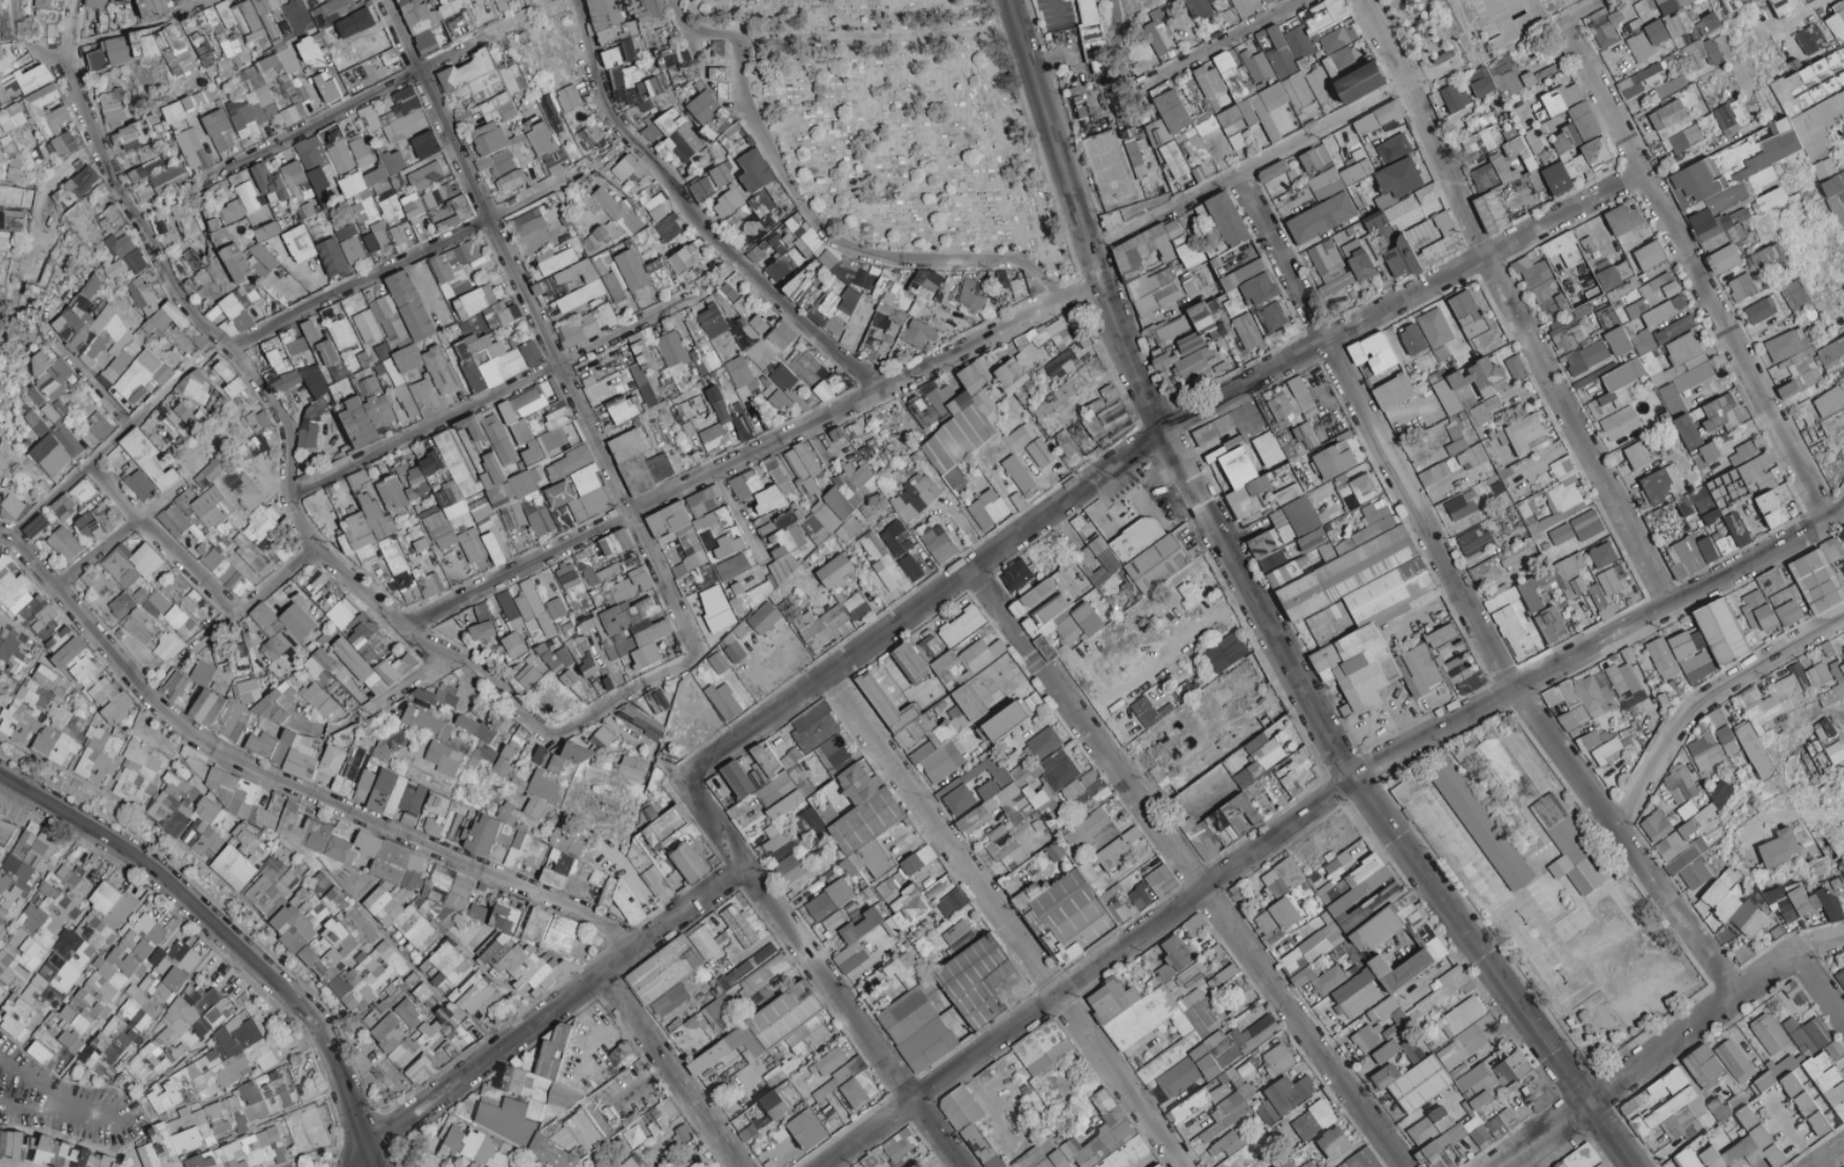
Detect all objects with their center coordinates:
park: (892, 119)

